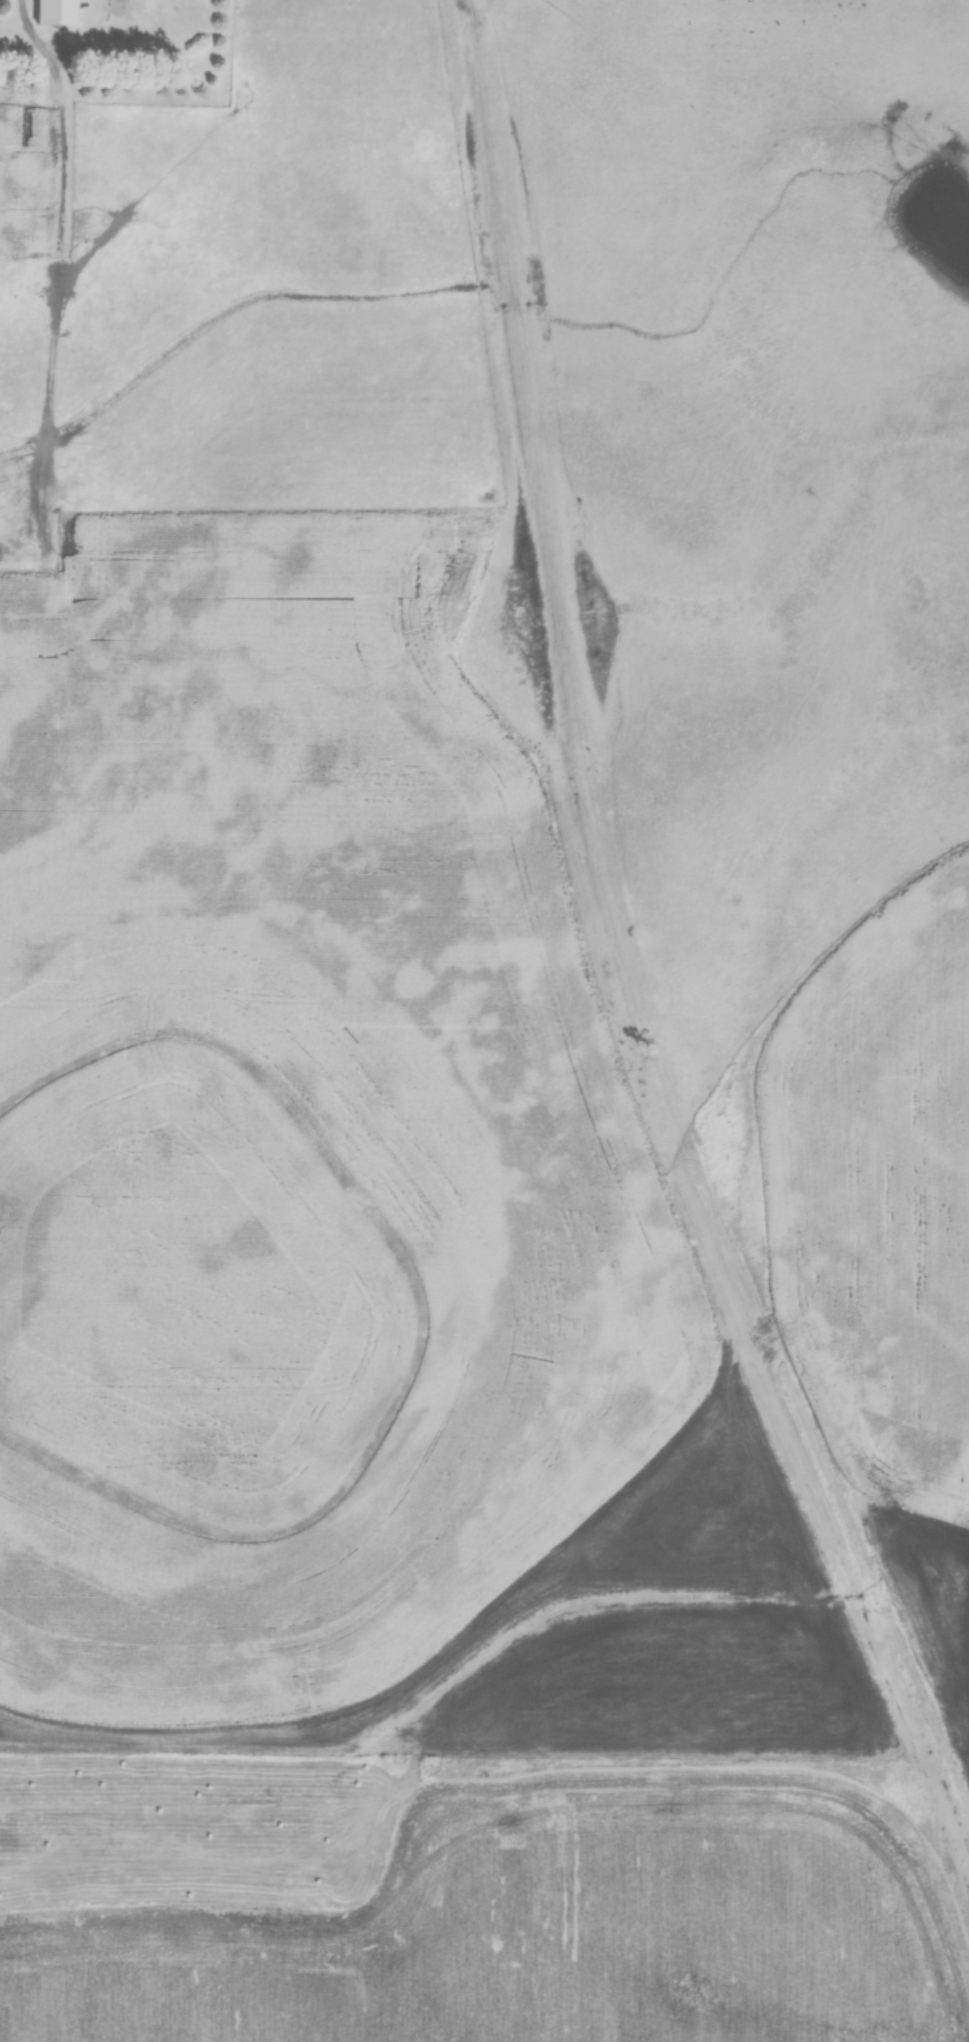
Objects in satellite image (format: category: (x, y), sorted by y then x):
building: (1, 7)
building: (54, 13)

